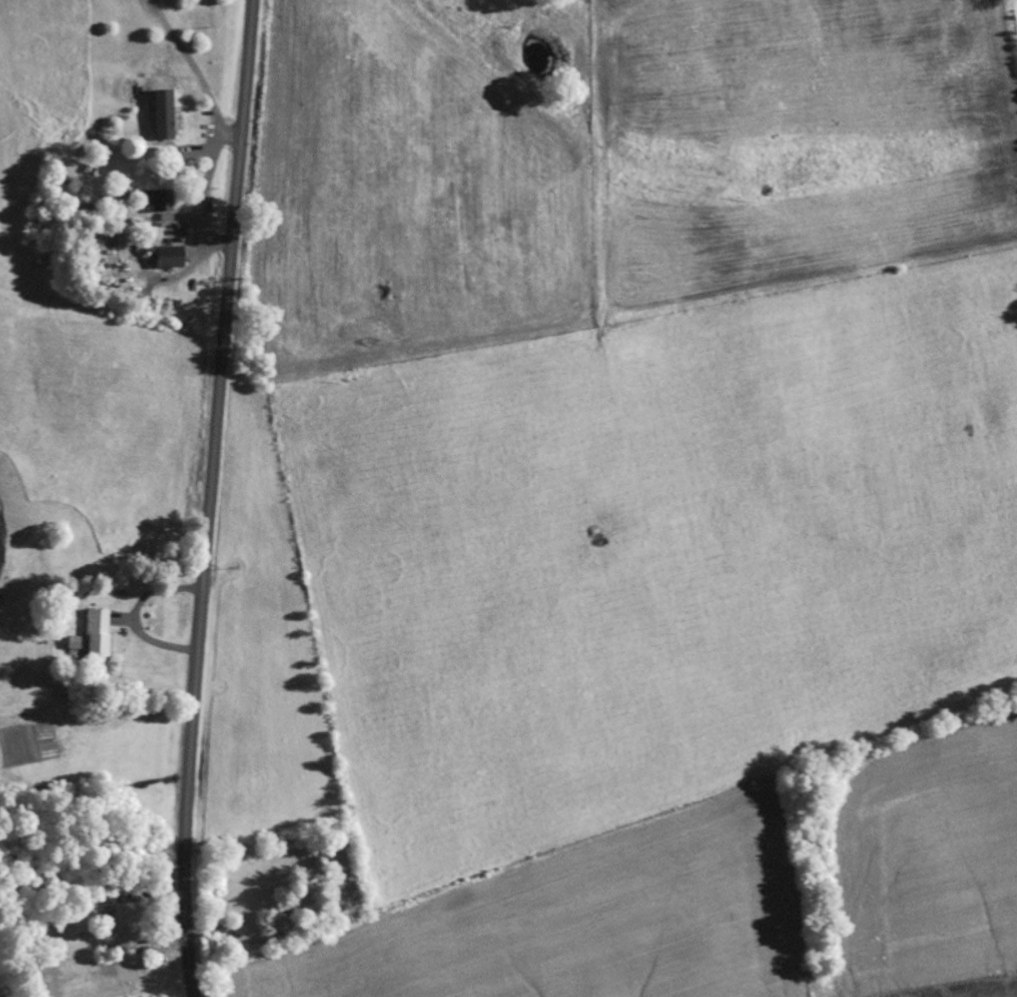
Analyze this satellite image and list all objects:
building: (160, 119)
building: (156, 201)
building: (165, 258)
road: (210, 498)
building: (67, 597)
building: (93, 637)
building: (332, 879)
building: (302, 907)
building: (122, 918)

